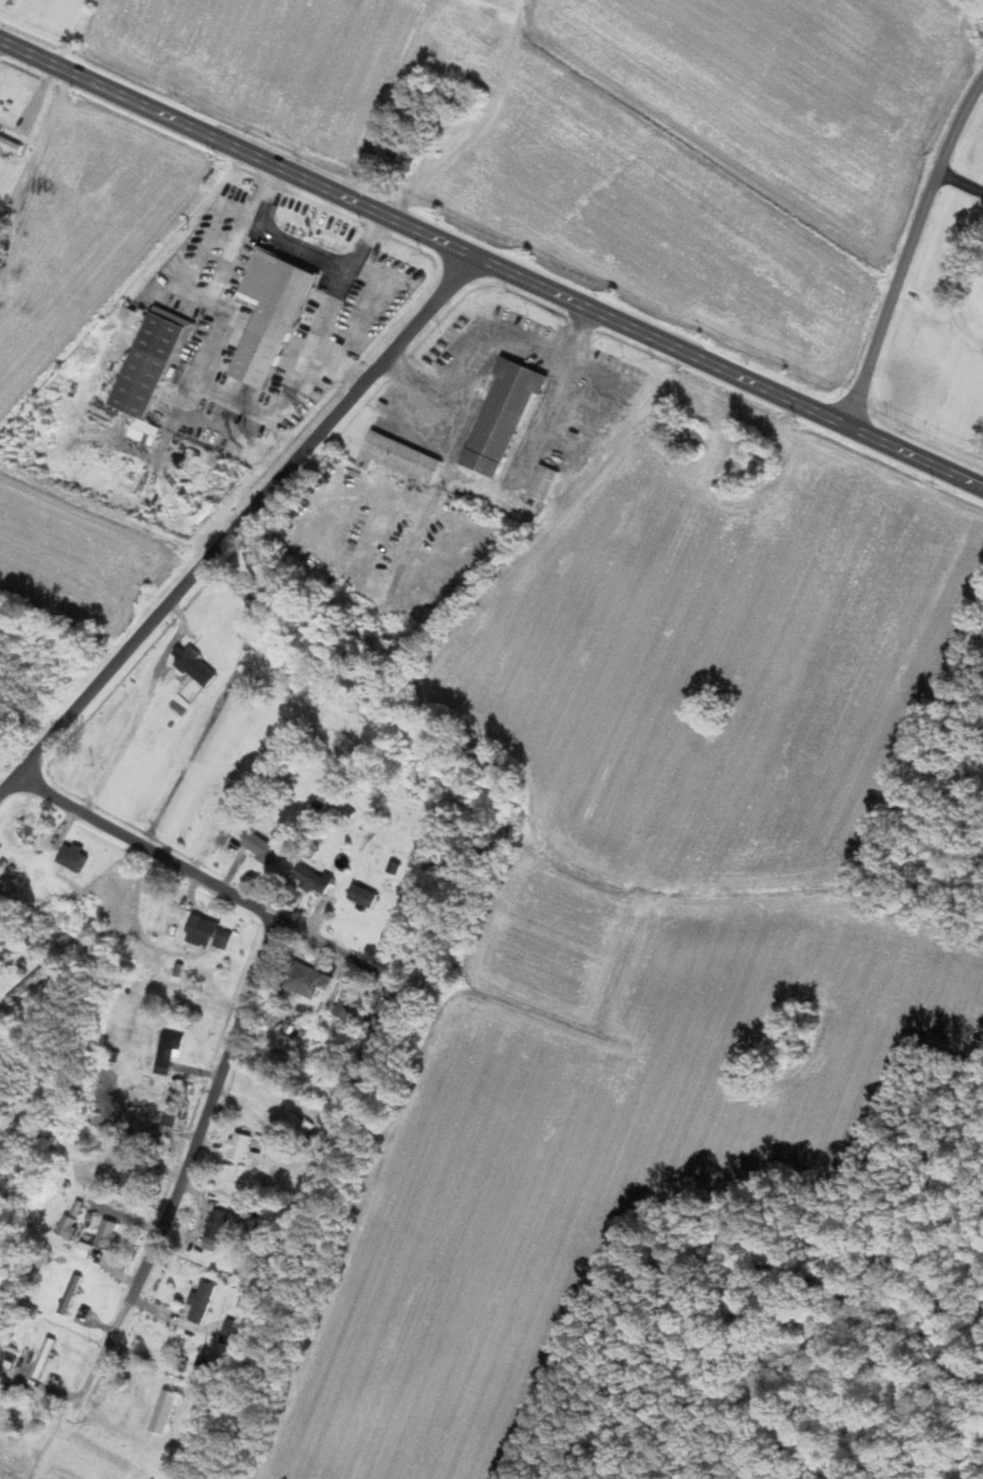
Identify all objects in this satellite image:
building: (12, 142)
building: (401, 158)
road: (959, 191)
road: (271, 239)
road: (910, 251)
road: (491, 263)
road: (333, 307)
building: (270, 315)
building: (130, 316)
road: (486, 340)
road: (202, 368)
building: (149, 371)
building: (598, 410)
building: (503, 416)
building: (400, 457)
building: (544, 483)
road: (238, 525)
building: (195, 666)
building: (262, 848)
building: (347, 850)
building: (72, 857)
building: (311, 880)
building: (205, 932)
road: (330, 947)
building: (306, 981)
building: (29, 989)
building: (349, 1005)
building: (387, 1017)
road: (239, 1024)
building: (168, 1053)
building: (171, 1118)
building: (239, 1147)
building: (215, 1230)
building: (108, 1234)
building: (71, 1294)
building: (201, 1303)
building: (45, 1357)
building: (164, 1412)

